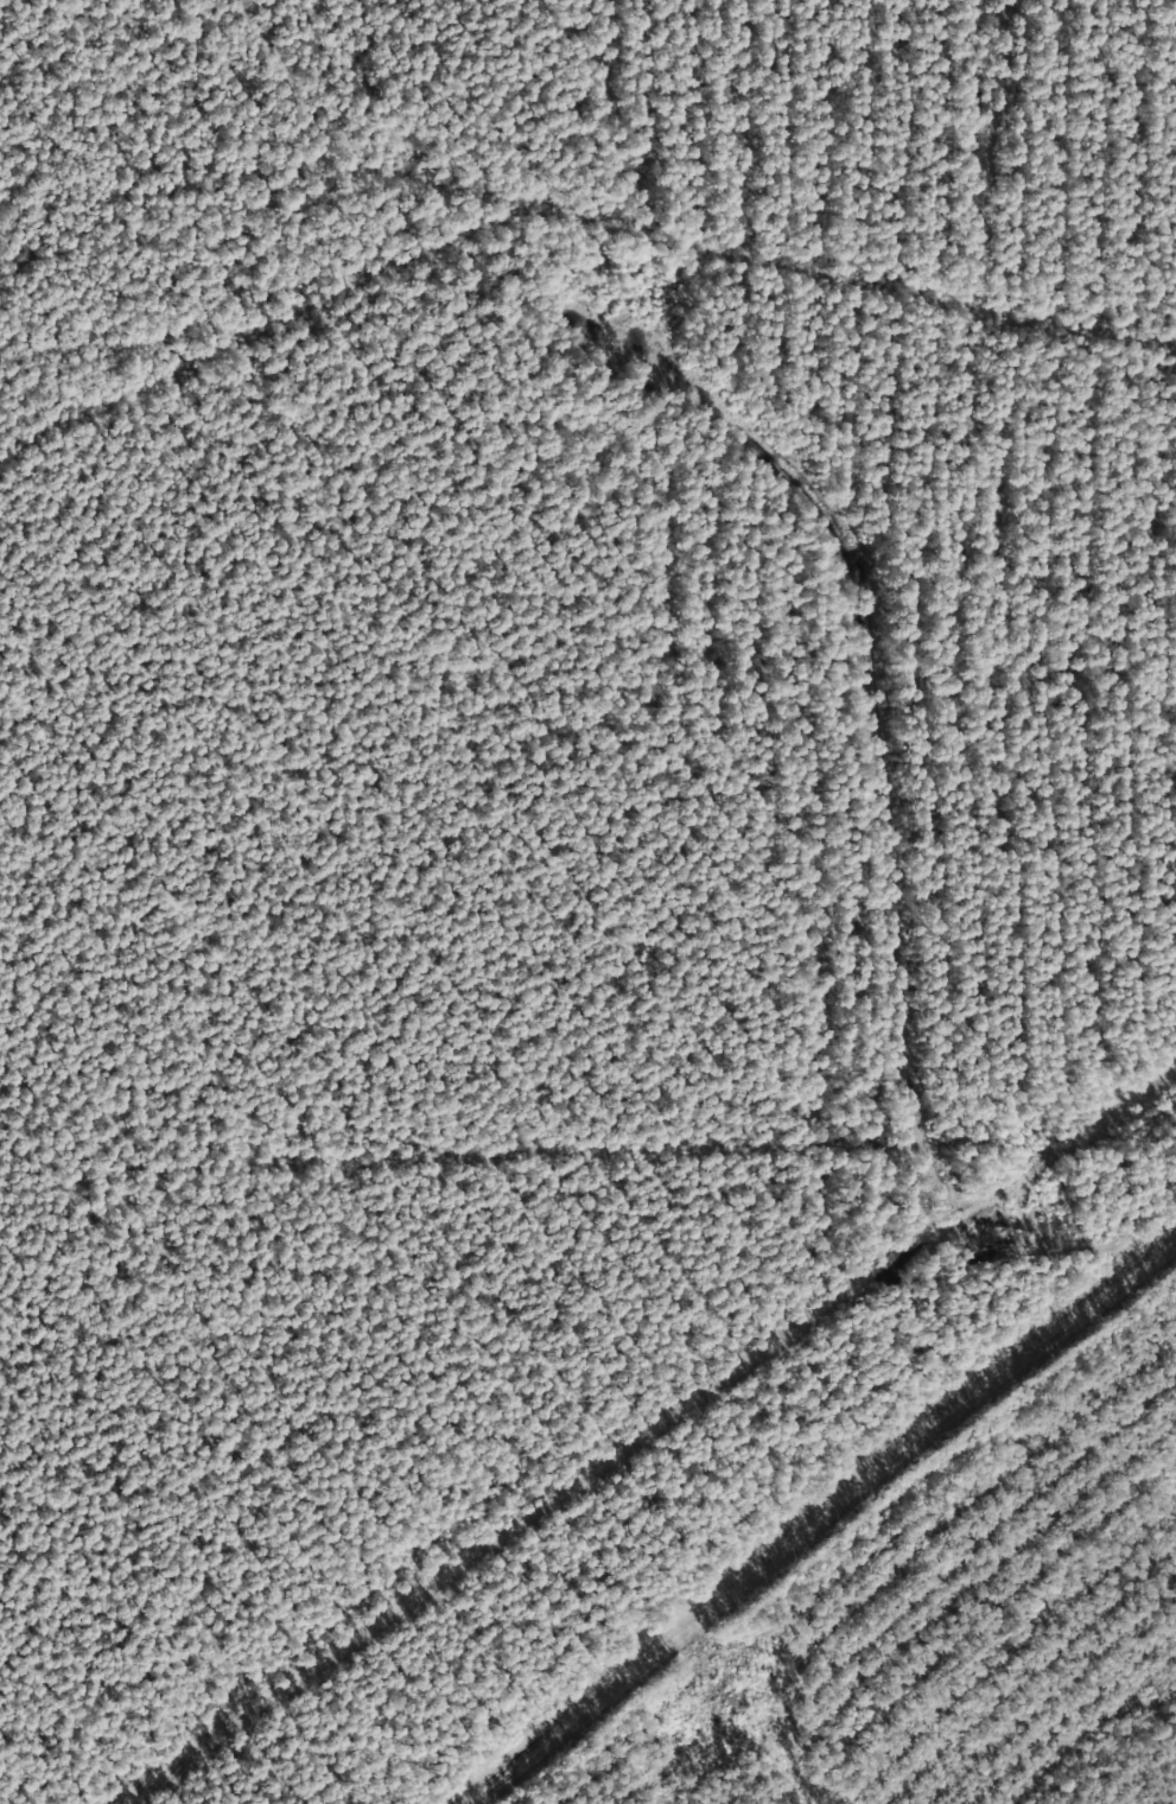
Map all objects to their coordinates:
road: (806, 1510)

